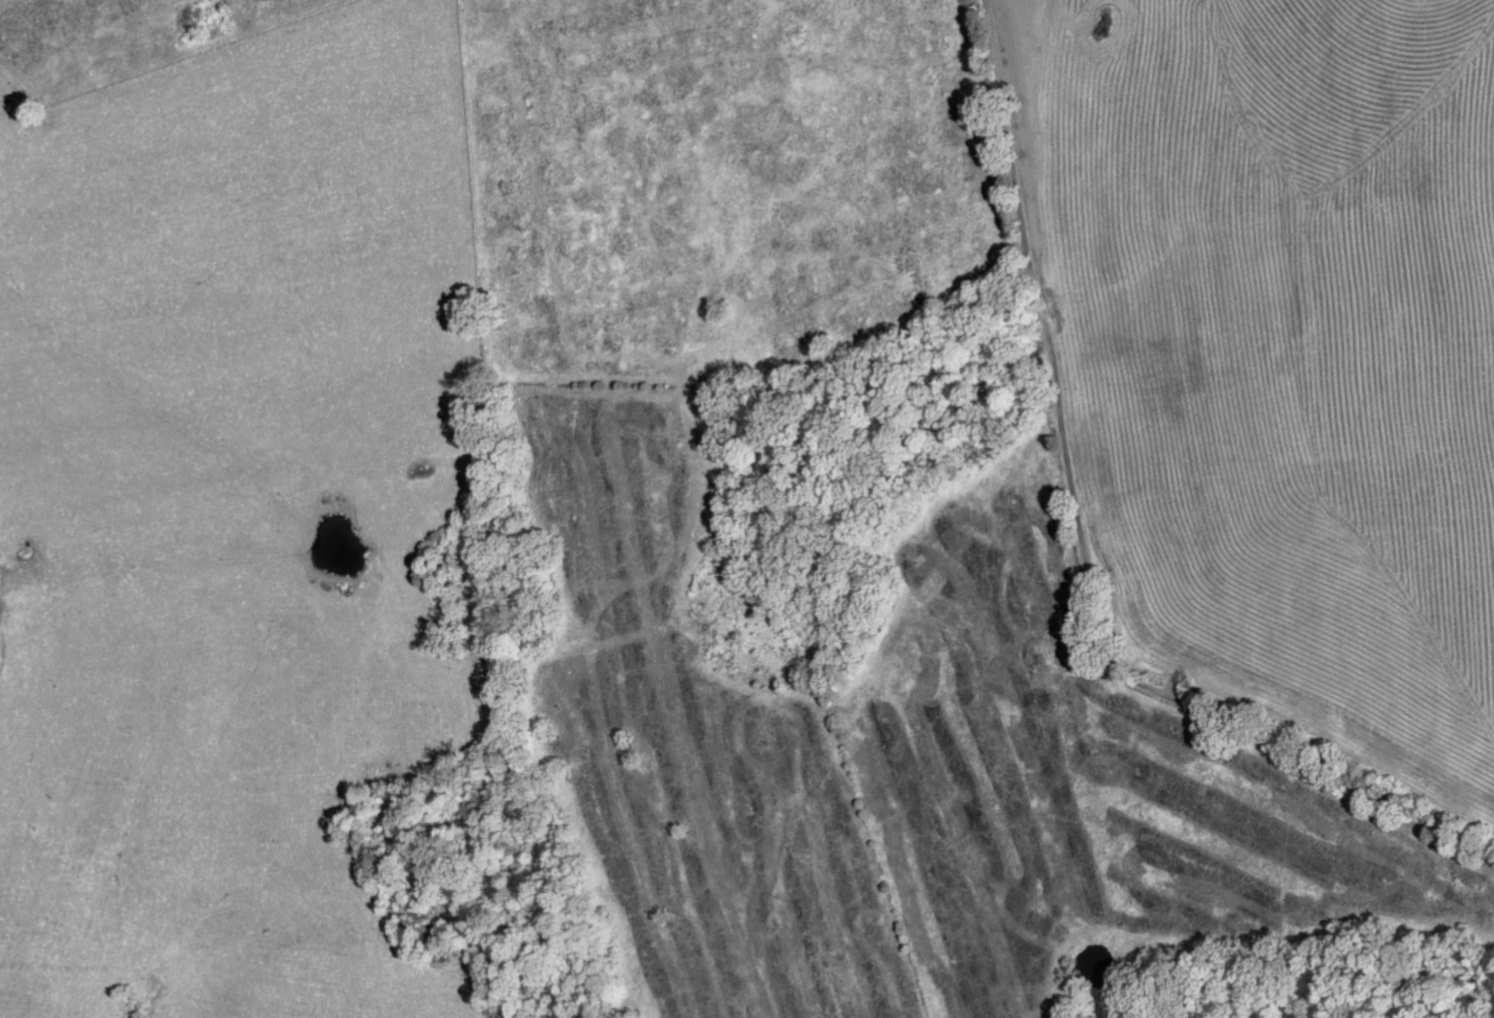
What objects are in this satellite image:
road: (1080, 546)

